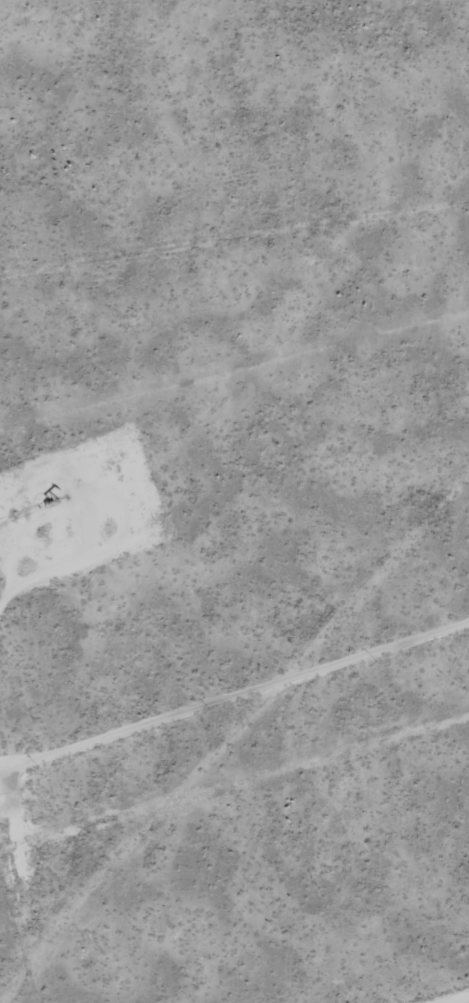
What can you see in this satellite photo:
road: (234, 688)
road: (451, 998)

